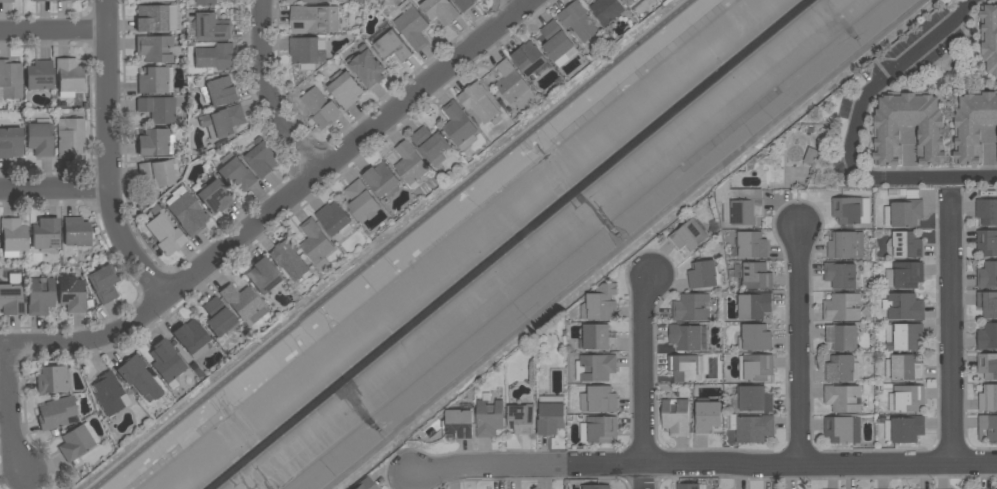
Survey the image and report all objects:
building: (40, 0)
building: (64, 0)
building: (154, 0)
building: (7, 1)
building: (317, 1)
building: (207, 2)
building: (630, 2)
road: (521, 3)
building: (465, 4)
building: (441, 10)
building: (607, 10)
building: (153, 19)
building: (314, 19)
building: (579, 21)
building: (412, 26)
building: (211, 27)
road: (54, 30)
building: (989, 37)
building: (557, 43)
building: (392, 47)
building: (154, 48)
building: (306, 50)
building: (216, 57)
building: (529, 58)
building: (367, 67)
building: (39, 75)
building: (69, 75)
building: (10, 79)
building: (152, 80)
building: (511, 82)
building: (346, 90)
building: (222, 92)
road: (271, 92)
building: (478, 102)
building: (157, 109)
building: (320, 109)
building: (223, 122)
building: (973, 125)
building: (459, 126)
building: (887, 128)
road: (855, 131)
building: (70, 137)
building: (40, 138)
building: (10, 143)
building: (155, 143)
building: (431, 145)
building: (810, 155)
road: (109, 157)
building: (263, 158)
building: (410, 163)
building: (156, 173)
building: (237, 174)
building: (382, 180)
road: (55, 189)
building: (215, 197)
building: (362, 202)
road: (281, 204)
building: (740, 204)
building: (186, 211)
building: (986, 211)
building: (905, 214)
building: (334, 218)
building: (46, 235)
building: (75, 235)
building: (165, 235)
building: (13, 236)
building: (688, 236)
building: (987, 242)
building: (316, 244)
road: (392, 244)
building: (751, 245)
building: (845, 245)
building: (904, 245)
building: (289, 260)
building: (908, 274)
building: (702, 275)
building: (840, 275)
building: (987, 275)
building: (262, 276)
building: (756, 276)
building: (103, 282)
building: (10, 295)
building: (40, 295)
building: (72, 295)
building: (243, 302)
building: (602, 302)
building: (987, 304)
building: (753, 306)
building: (903, 306)
building: (841, 307)
building: (691, 308)
building: (218, 317)
road: (950, 330)
building: (191, 336)
building: (595, 336)
building: (904, 336)
building: (987, 336)
building: (685, 337)
building: (755, 337)
building: (842, 337)
road: (800, 349)
building: (166, 360)
building: (987, 365)
building: (597, 367)
building: (682, 368)
building: (756, 368)
building: (839, 368)
building: (905, 368)
building: (139, 377)
building: (52, 380)
road: (644, 380)
building: (108, 394)
building: (842, 398)
building: (988, 398)
building: (598, 399)
building: (753, 399)
building: (906, 399)
road: (18, 411)
building: (57, 414)
building: (551, 415)
building: (489, 417)
building: (675, 417)
building: (707, 417)
building: (521, 419)
building: (459, 424)
building: (987, 428)
building: (600, 429)
building: (906, 429)
building: (842, 430)
building: (77, 443)
road: (703, 465)
building: (365, 484)
building: (687, 486)
building: (594, 487)
building: (996, 488)

